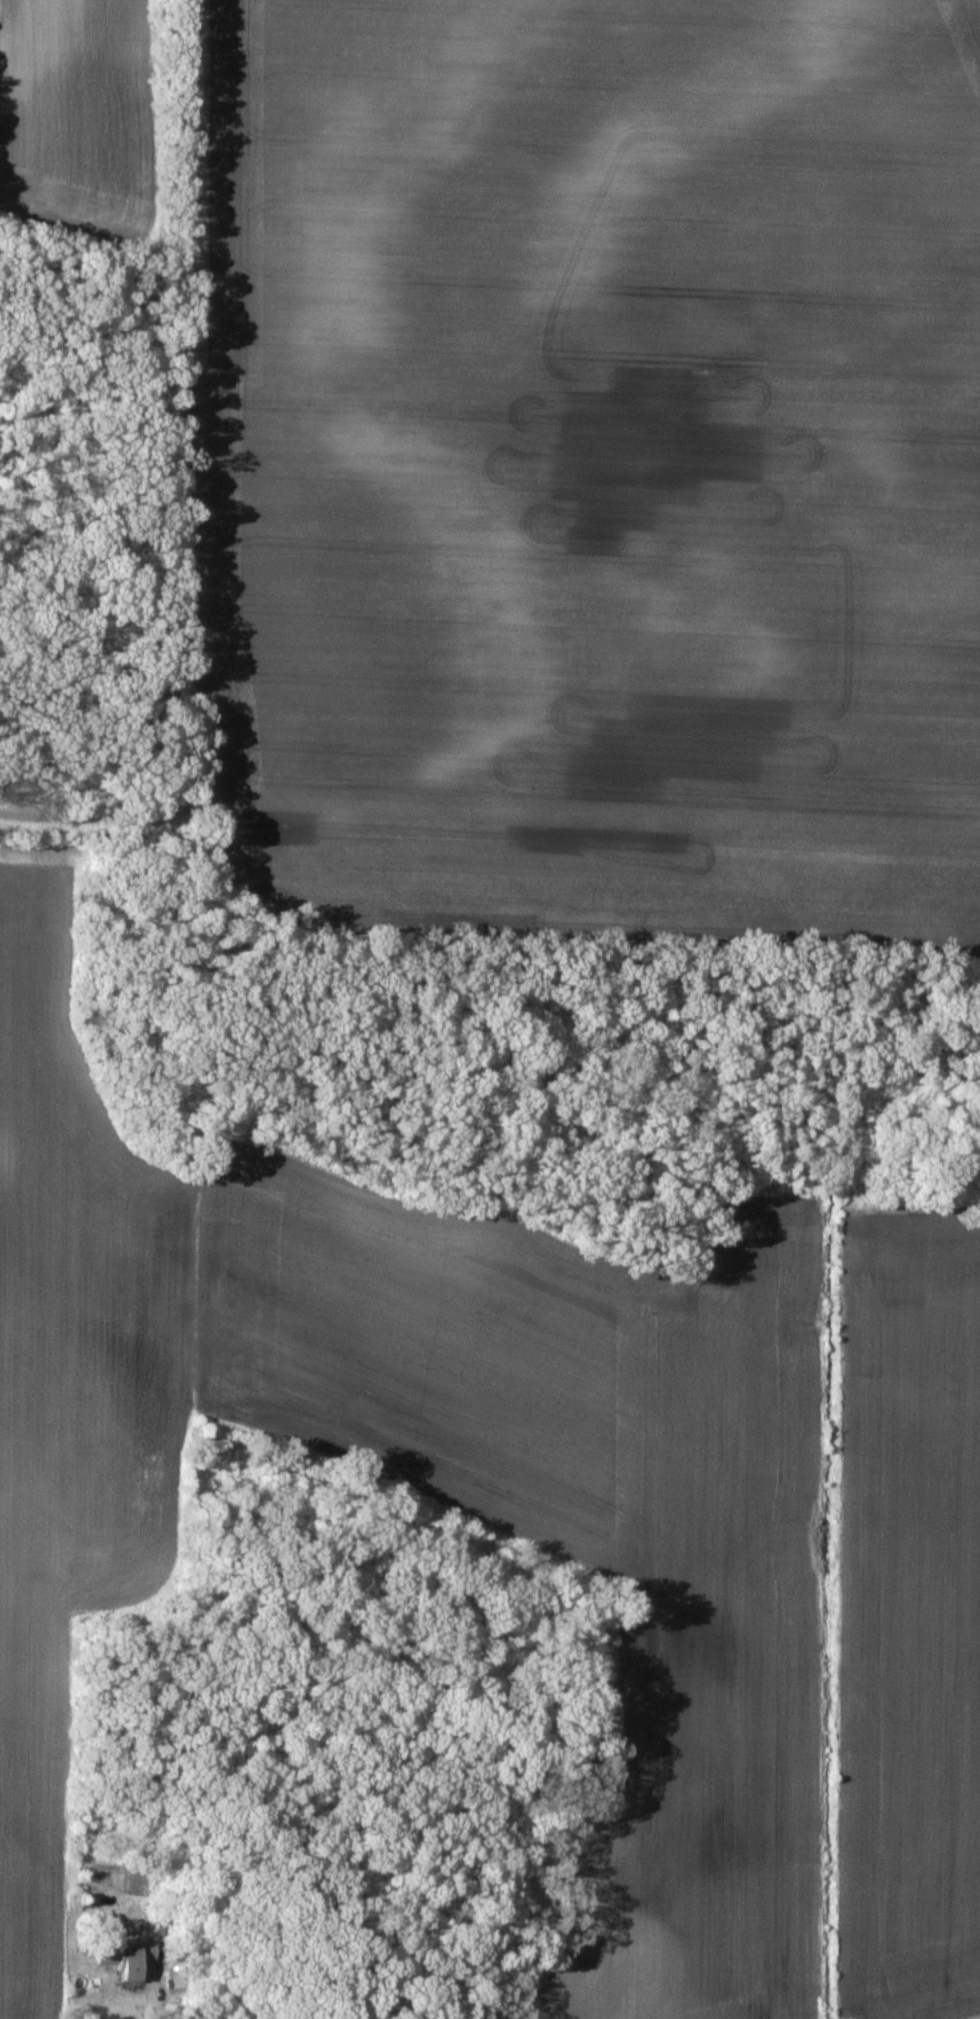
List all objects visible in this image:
road: (470, 1941)

